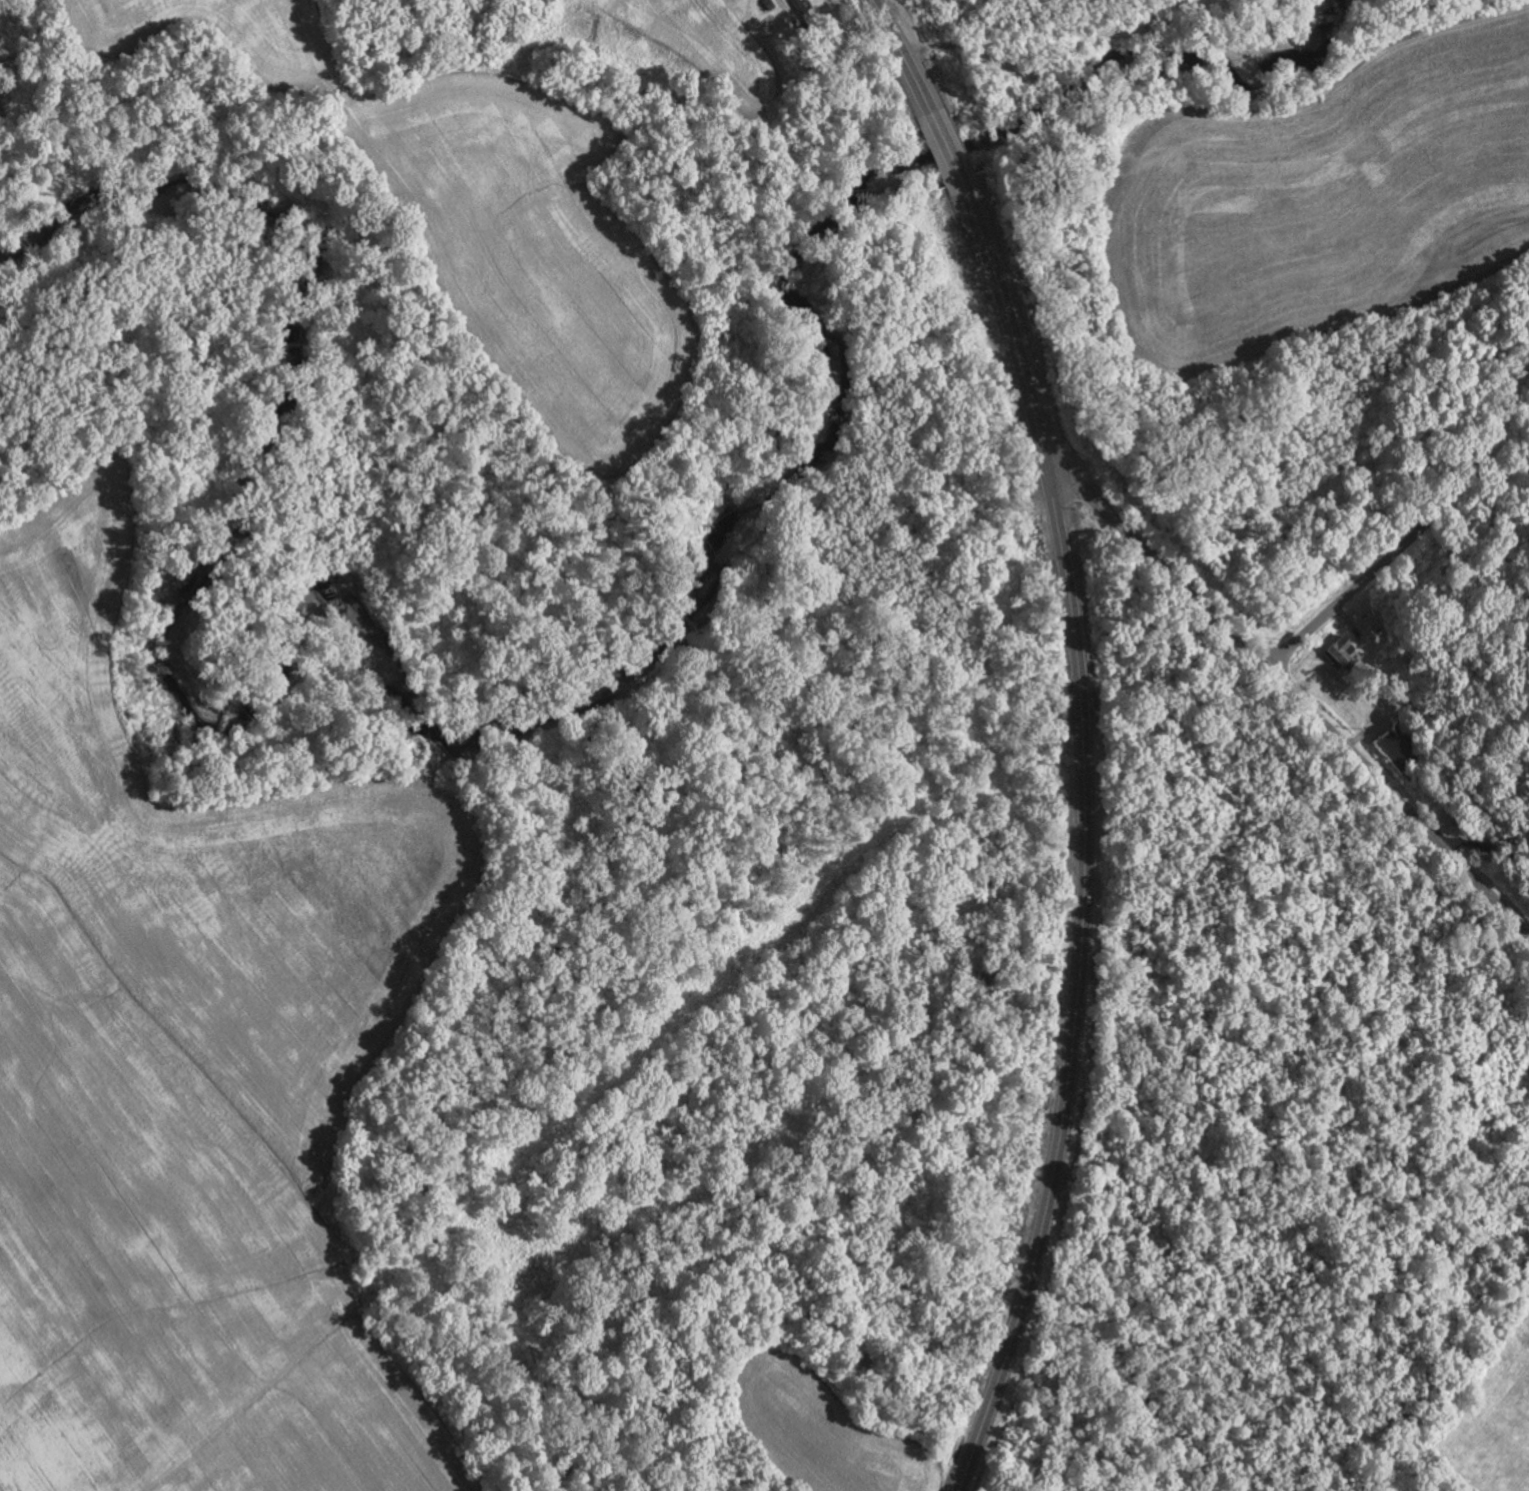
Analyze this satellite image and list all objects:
road: (901, 56)
road: (945, 147)
road: (1421, 530)
building: (1336, 651)
road: (1296, 699)
road: (1083, 836)
road: (1502, 870)
crop: (190, 1076)

